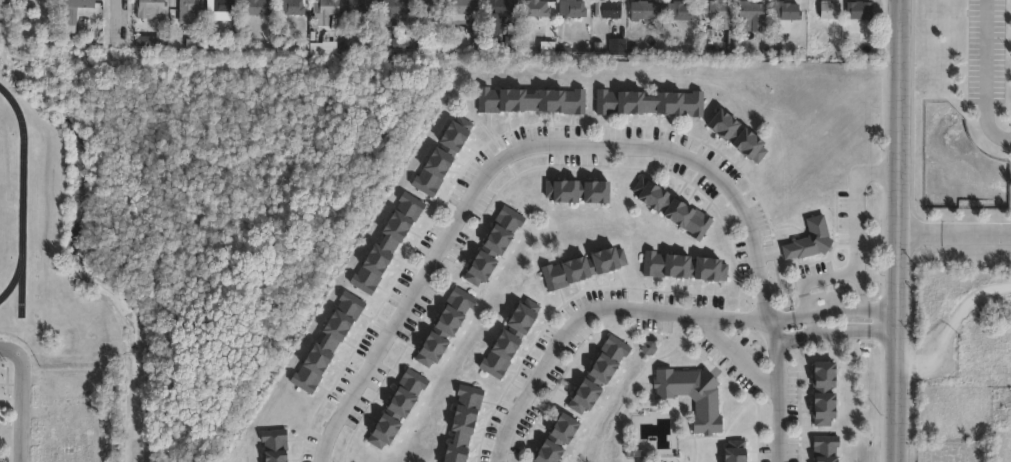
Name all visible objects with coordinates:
building: (35, 1)
building: (183, 5)
building: (359, 6)
building: (289, 7)
building: (534, 7)
building: (572, 7)
building: (218, 8)
building: (253, 8)
building: (463, 8)
building: (607, 8)
building: (643, 8)
building: (149, 9)
building: (829, 9)
building: (859, 9)
building: (678, 10)
building: (786, 10)
building: (322, 11)
building: (392, 11)
building: (716, 12)
building: (751, 12)
building: (66, 13)
building: (496, 15)
road: (117, 20)
building: (146, 42)
building: (398, 44)
building: (616, 44)
building: (325, 47)
road: (990, 67)
building: (530, 97)
building: (648, 100)
building: (740, 124)
building: (443, 150)
road: (512, 152)
building: (577, 189)
building: (673, 206)
track: (18, 209)
road: (953, 223)
road: (855, 230)
road: (896, 231)
building: (388, 239)
building: (810, 239)
building: (493, 242)
building: (583, 265)
building: (683, 266)
road: (653, 309)
building: (444, 323)
building: (647, 337)
building: (508, 338)
building: (325, 343)
road: (7, 349)
road: (728, 356)
building: (599, 372)
building: (824, 386)
road: (770, 391)
building: (693, 395)
road: (23, 405)
building: (396, 405)
building: (461, 423)
building: (556, 439)
building: (273, 445)
building: (826, 445)
building: (734, 451)

